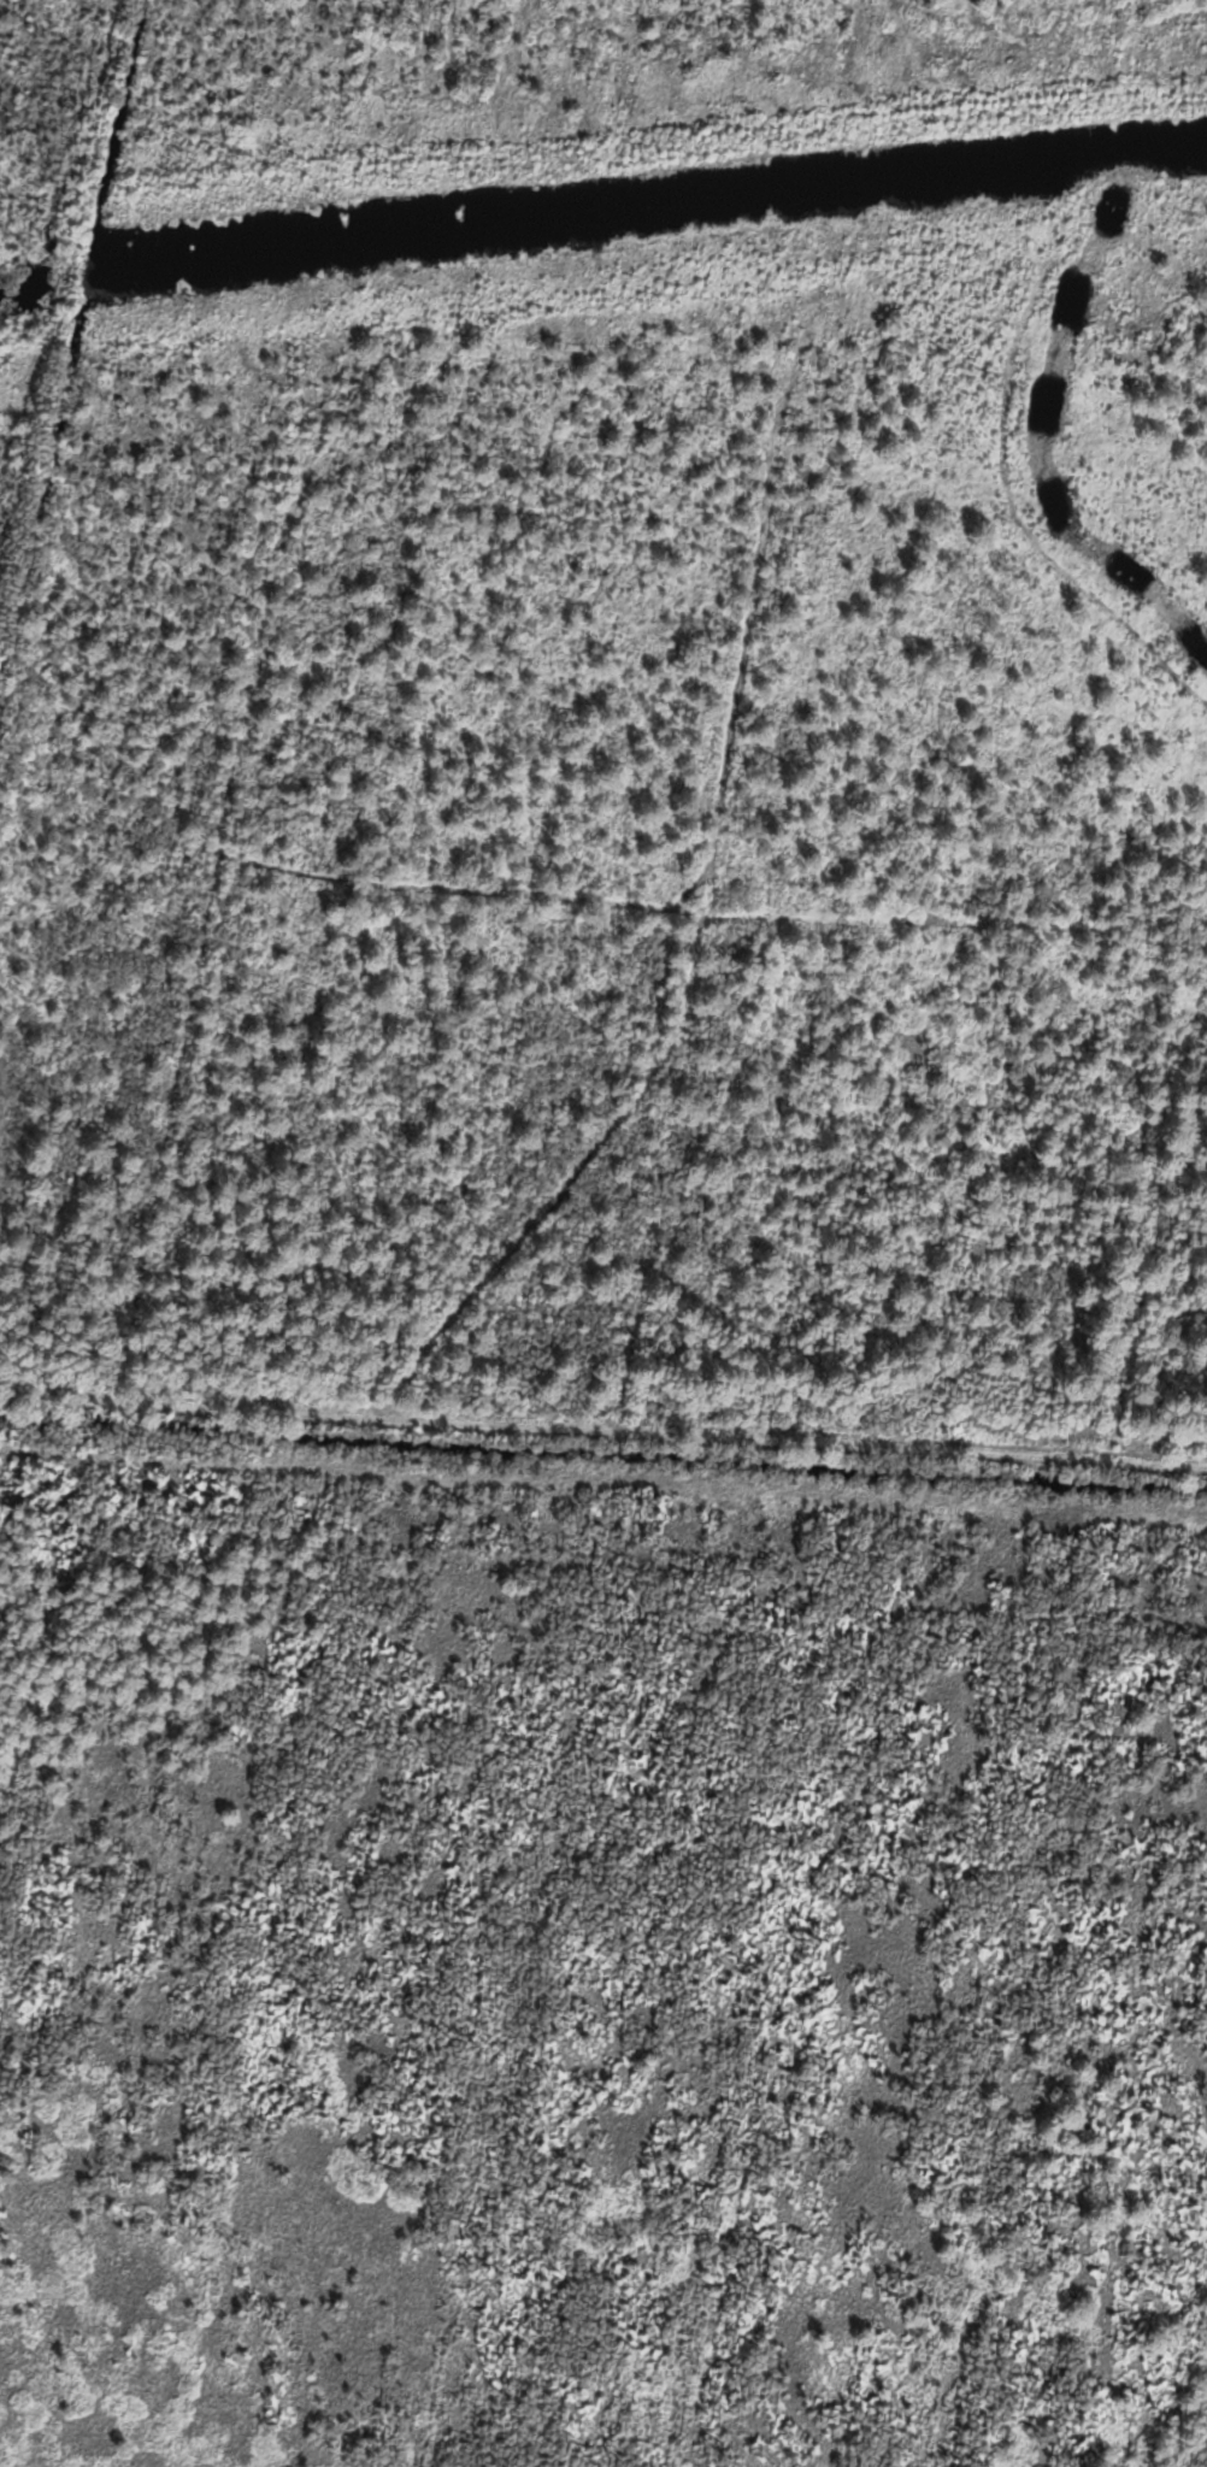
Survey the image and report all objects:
road: (603, 1427)
road: (603, 1480)

